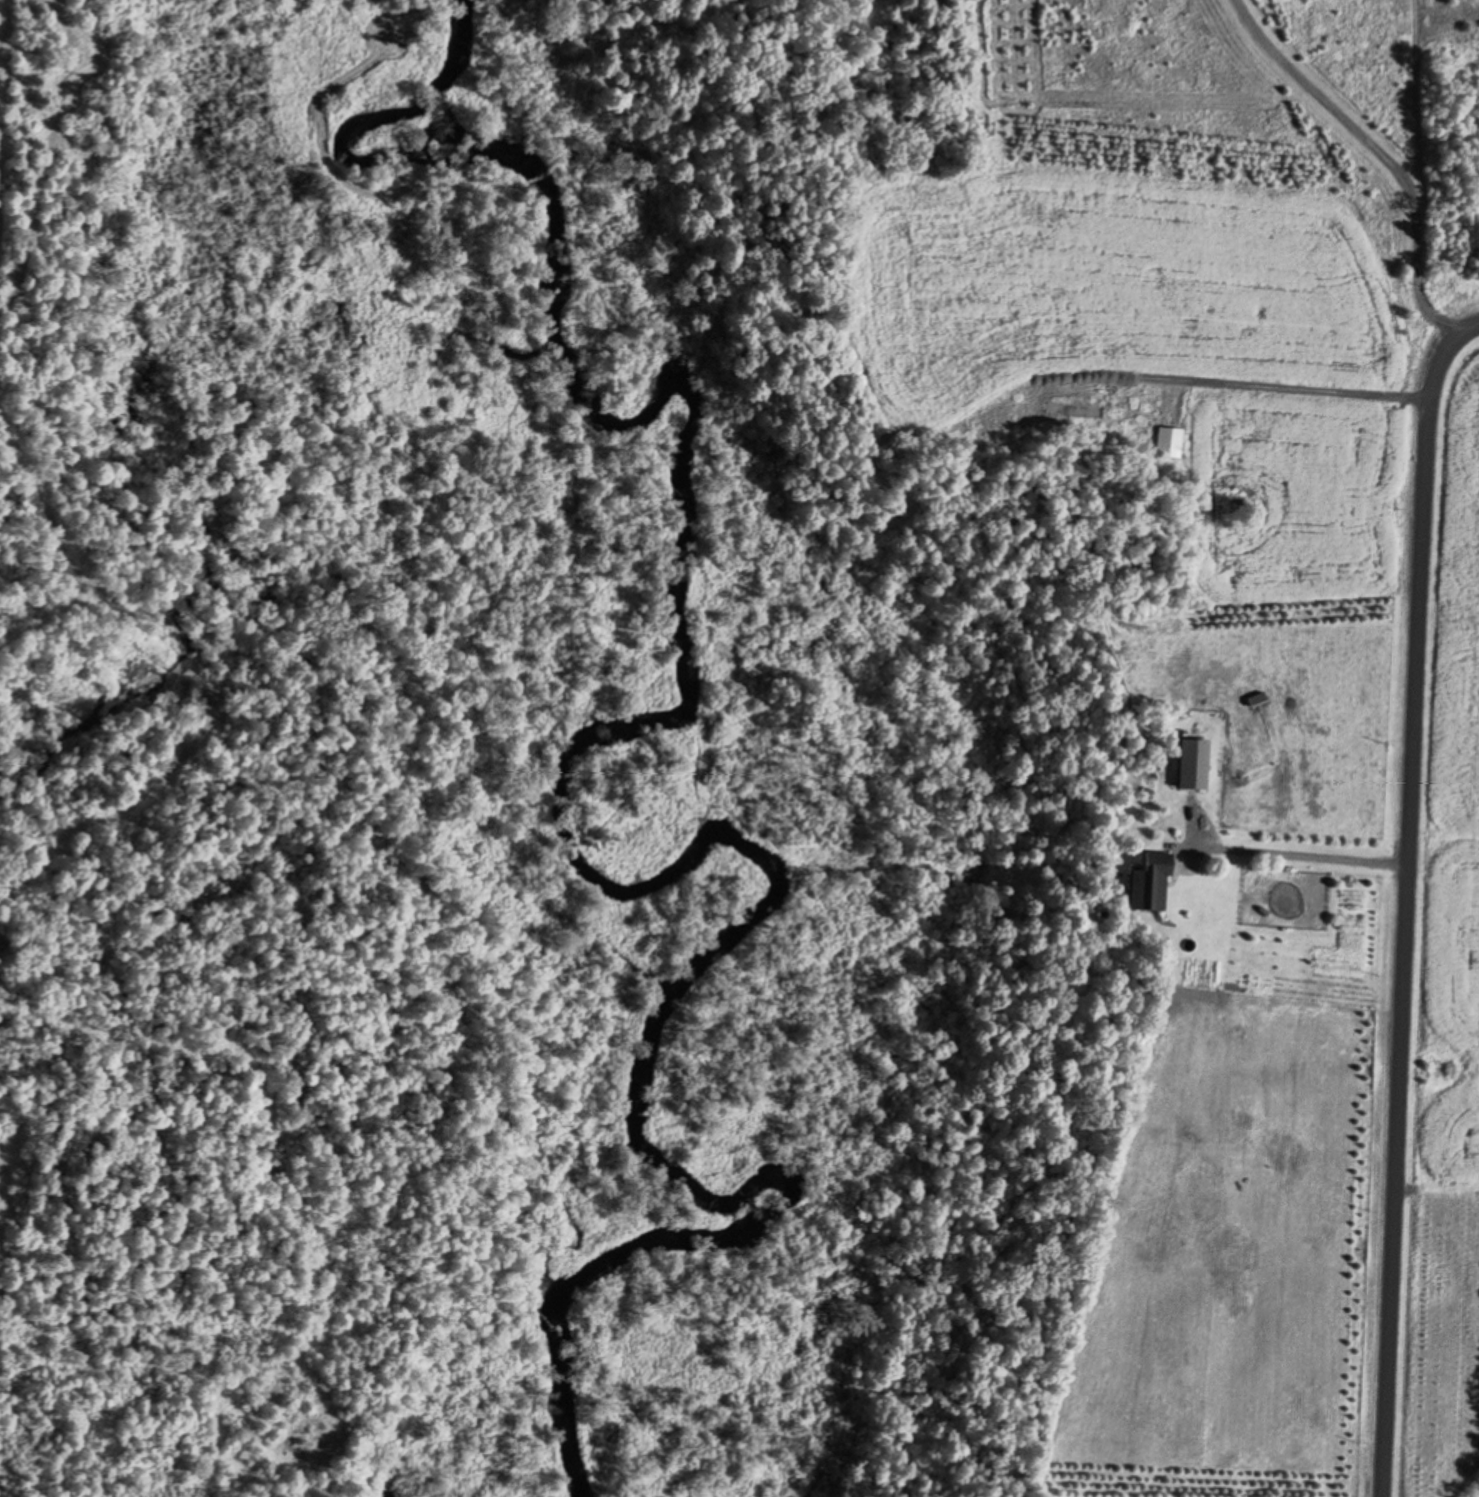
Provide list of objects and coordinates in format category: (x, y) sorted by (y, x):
road: (1456, 349)
building: (1073, 411)
building: (1169, 443)
building: (1257, 701)
building: (1192, 765)
building: (1148, 885)
road: (1404, 923)

